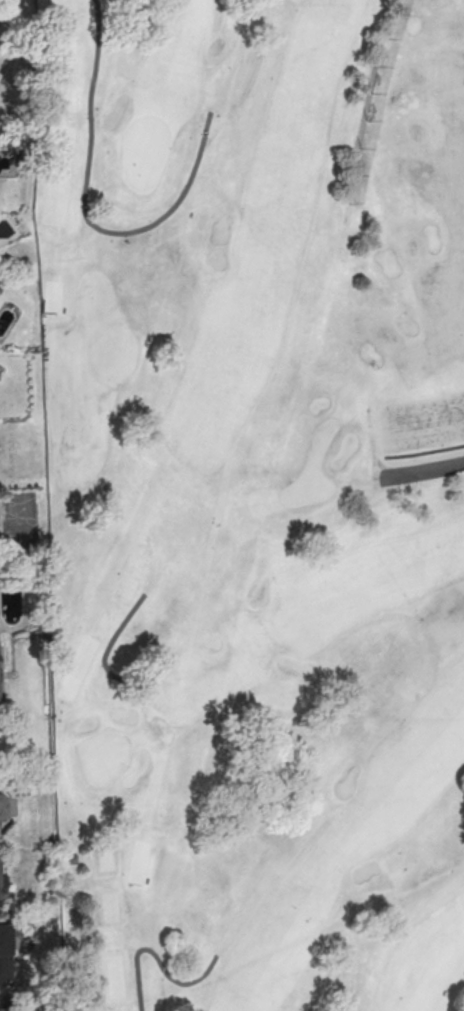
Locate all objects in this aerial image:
park: (446, 21)
park: (416, 132)
park: (144, 153)
park: (411, 248)
park: (386, 335)
park: (313, 471)
park: (254, 499)
building: (0, 690)
park: (104, 756)
building: (5, 809)
park: (297, 865)
building: (0, 891)
building: (4, 956)
building: (4, 1004)

